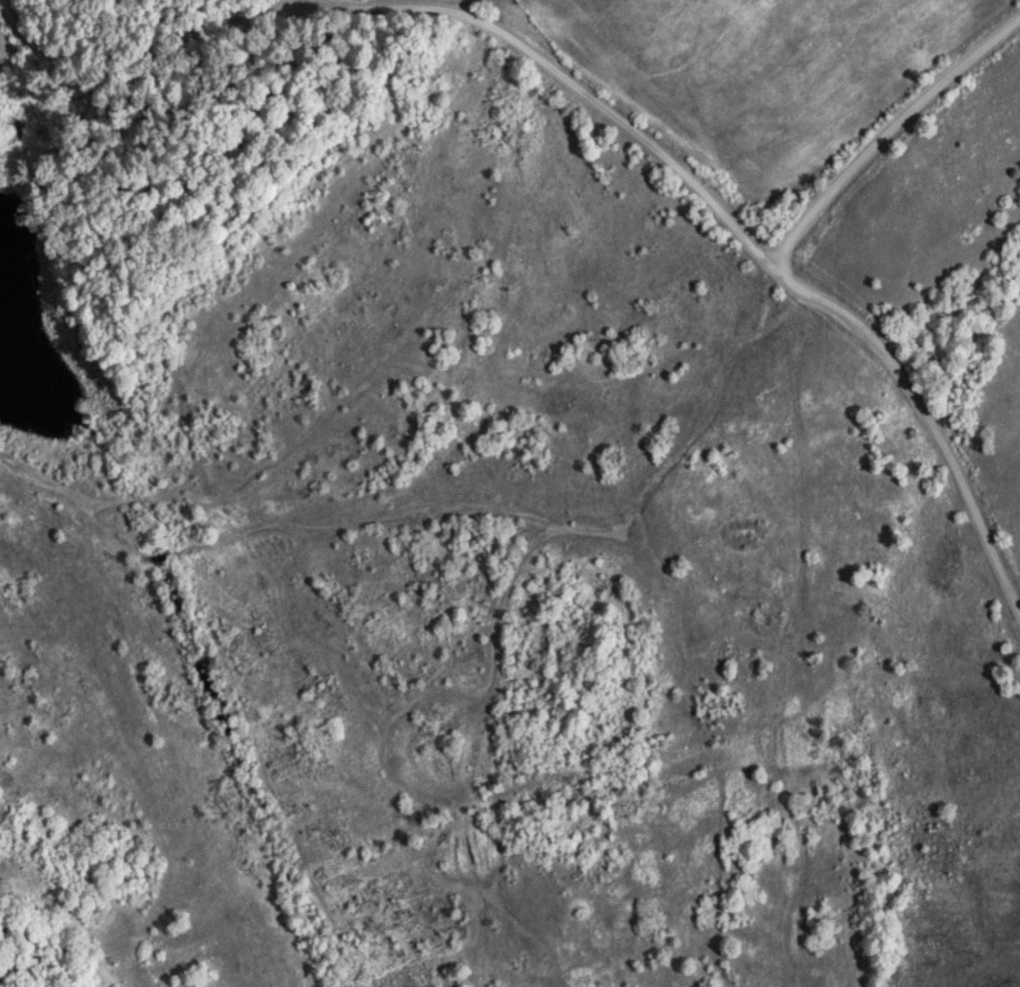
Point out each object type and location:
road: (270, 9)
road: (421, 11)
road: (810, 288)

